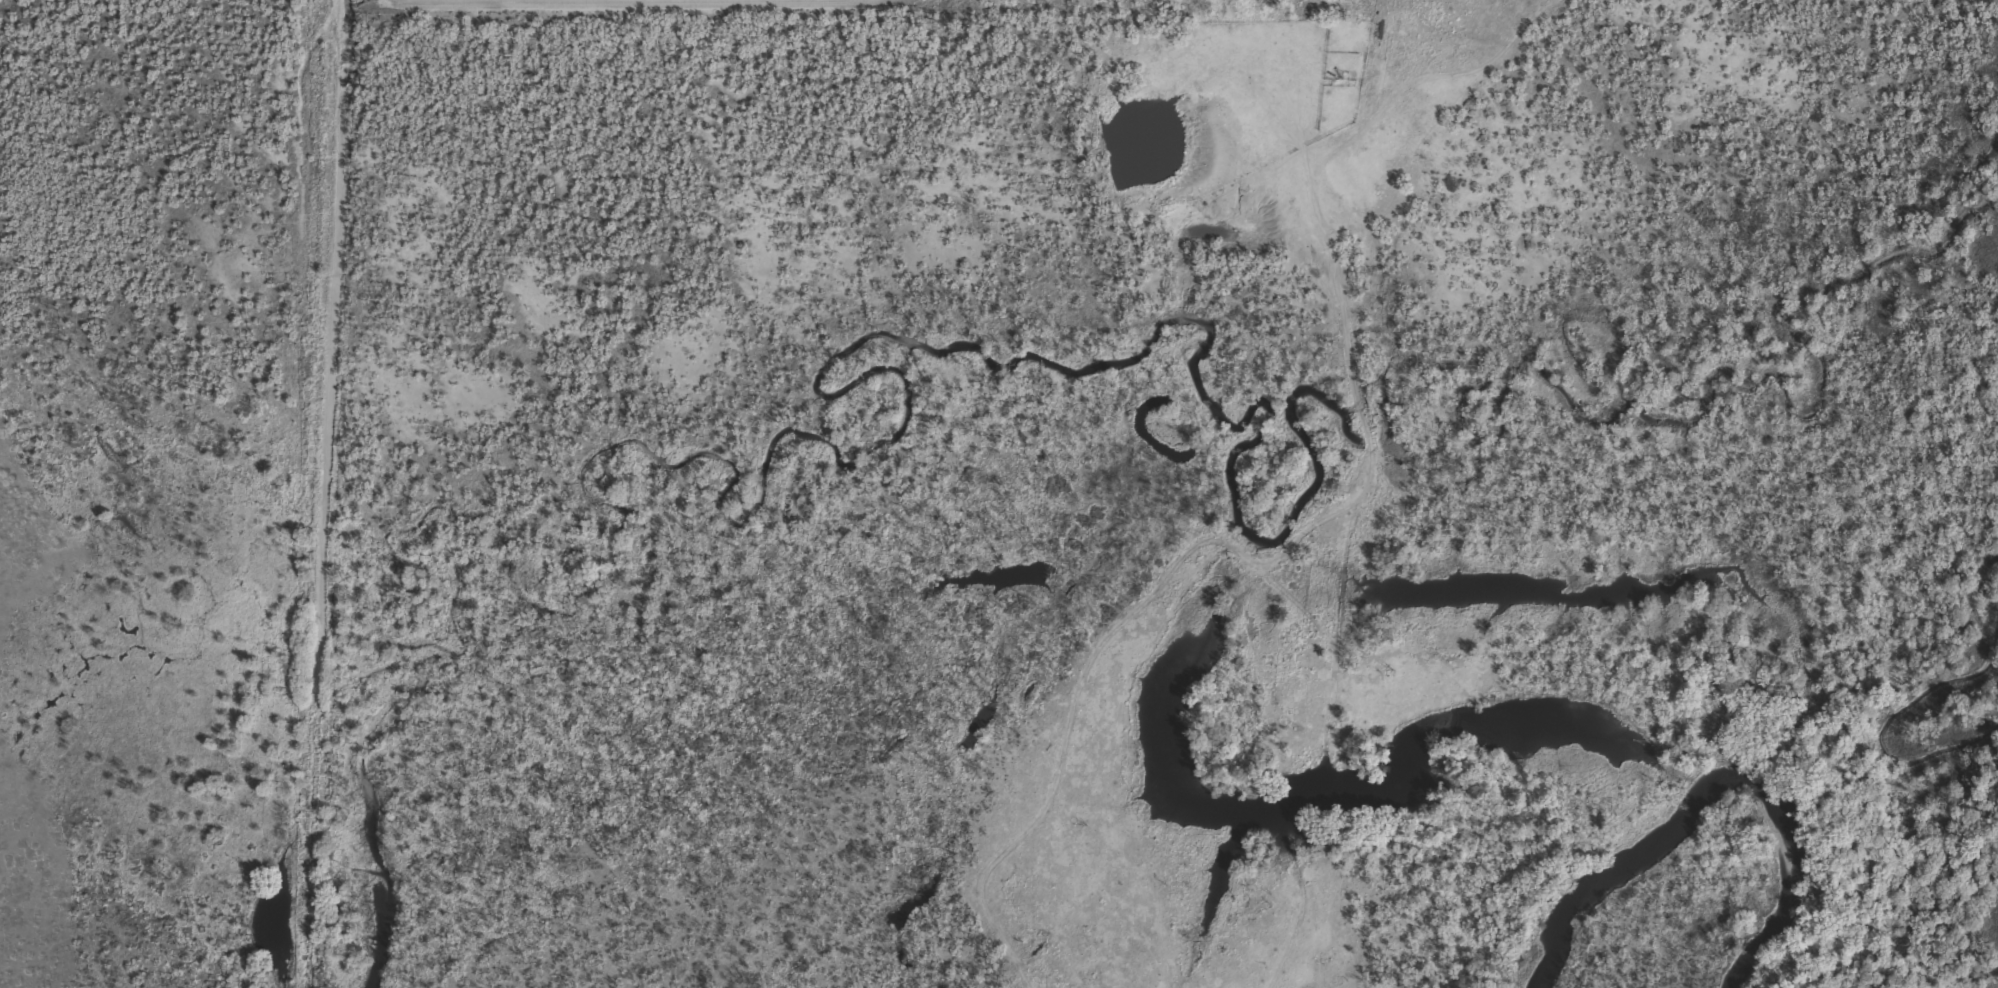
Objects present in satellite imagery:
road: (325, 493)

